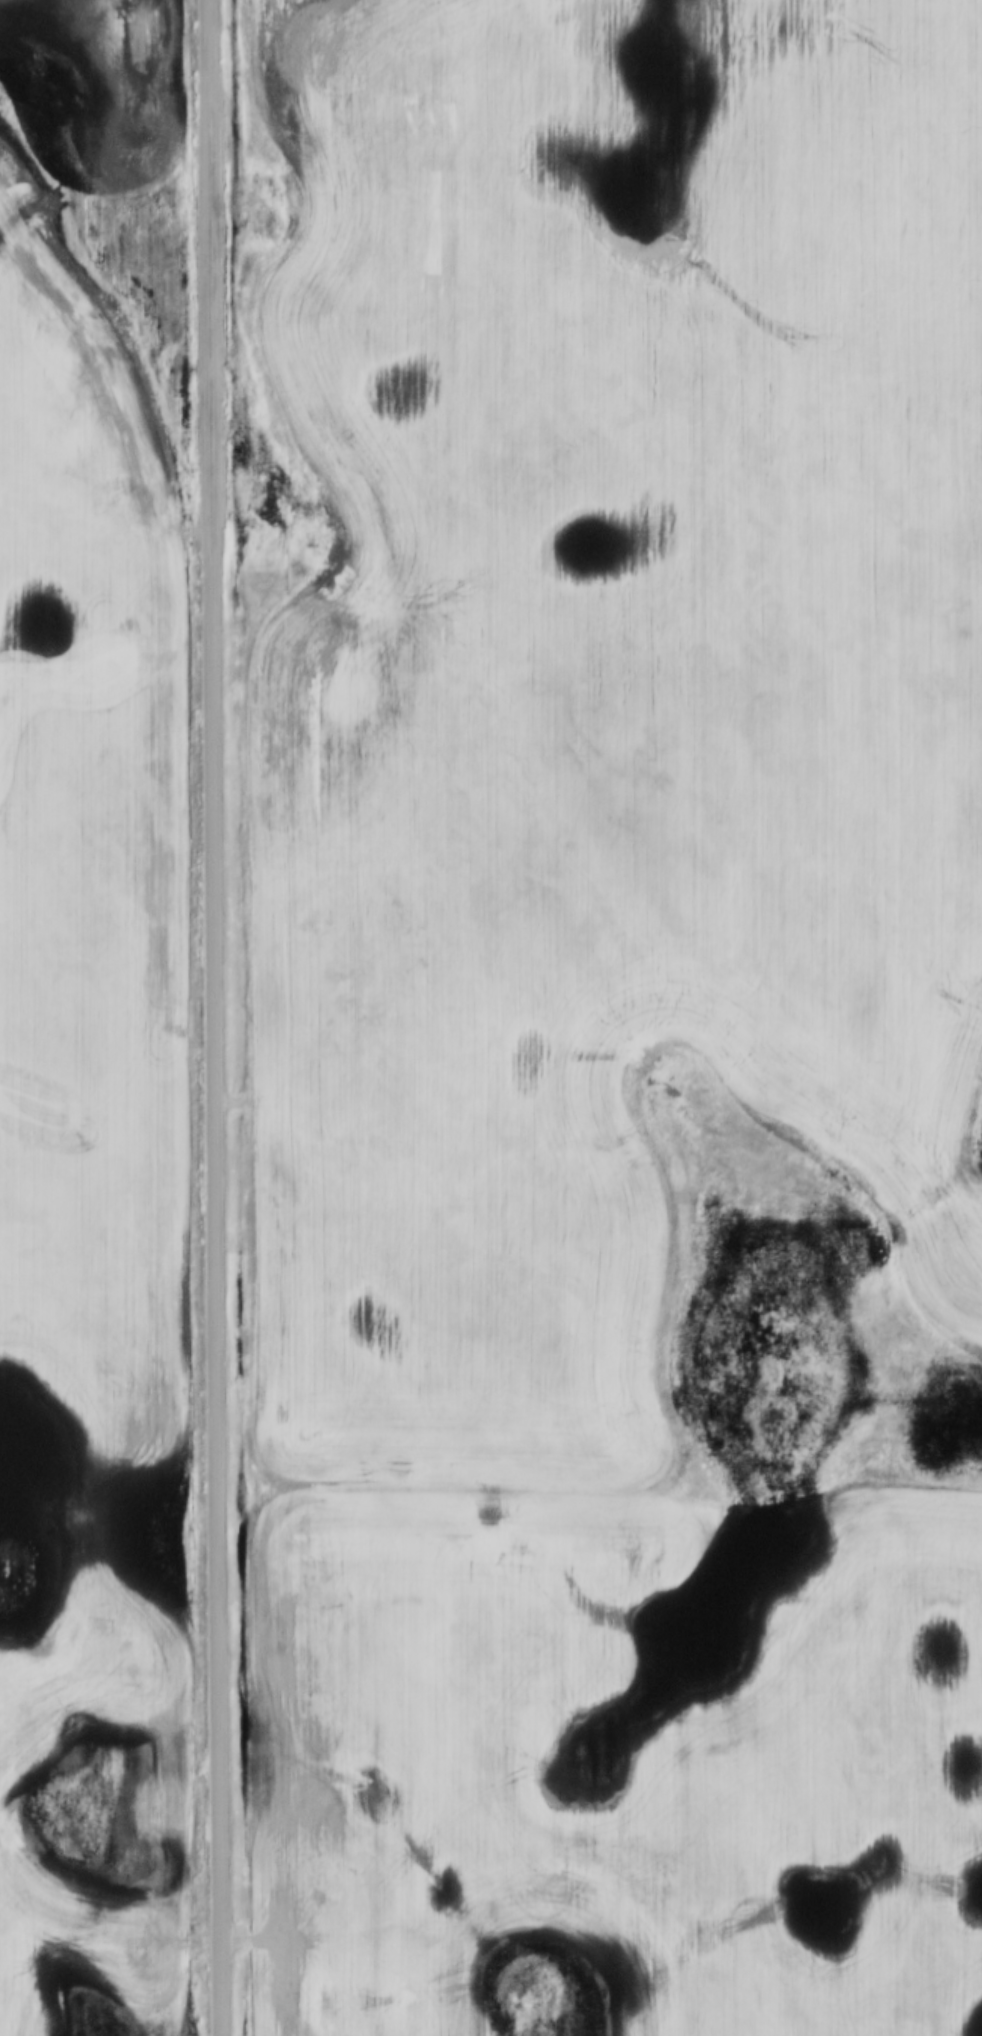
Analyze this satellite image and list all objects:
road: (211, 1017)

